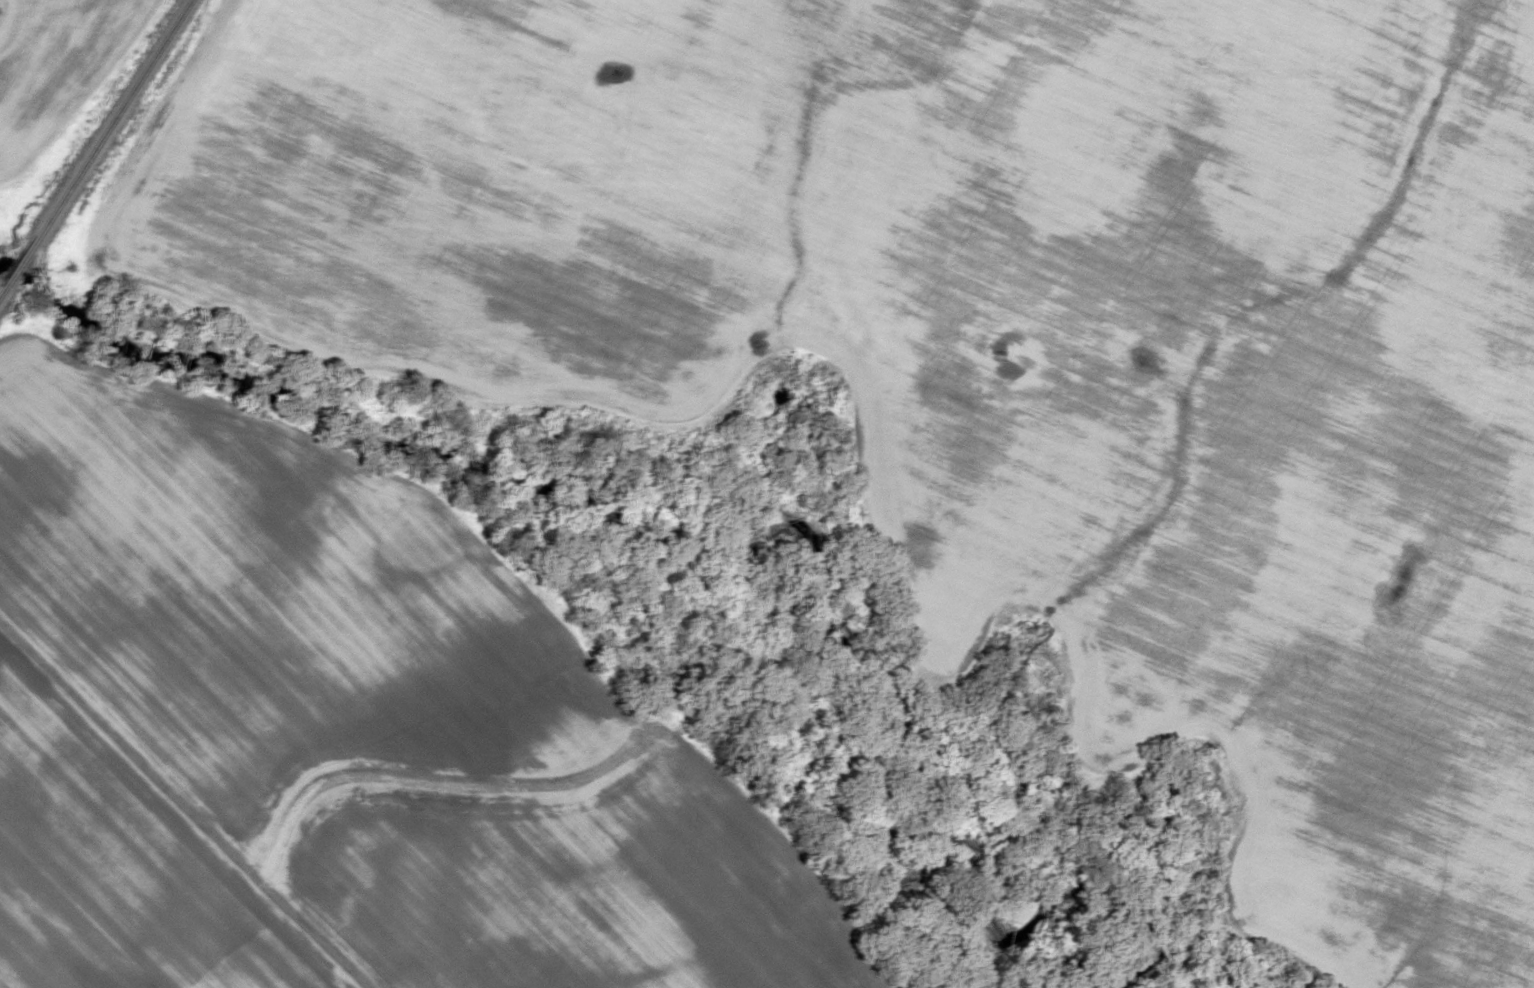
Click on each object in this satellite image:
railway: (100, 155)
road: (196, 805)

